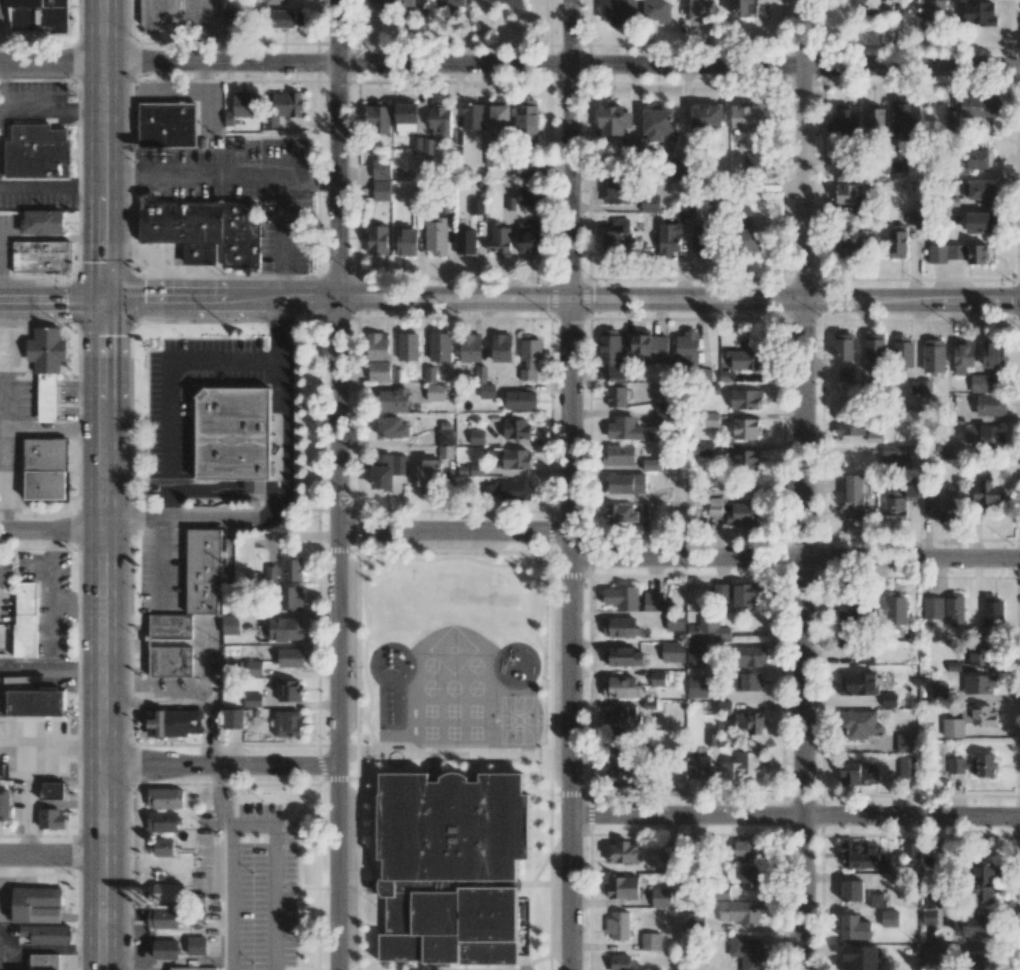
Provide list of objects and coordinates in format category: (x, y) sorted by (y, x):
building: (278, 1)
building: (390, 3)
building: (513, 3)
building: (451, 4)
building: (742, 7)
building: (869, 7)
building: (657, 10)
building: (701, 11)
building: (936, 11)
building: (618, 12)
building: (977, 13)
building: (41, 16)
building: (234, 16)
building: (161, 17)
building: (287, 19)
road: (509, 64)
road: (2, 86)
building: (976, 105)
building: (241, 106)
building: (282, 106)
road: (47, 107)
building: (499, 113)
building: (472, 116)
building: (527, 116)
building: (706, 116)
building: (903, 117)
building: (405, 118)
building: (747, 118)
building: (874, 118)
building: (950, 118)
building: (377, 119)
building: (845, 119)
building: (440, 120)
building: (611, 120)
building: (657, 123)
building: (169, 125)
building: (416, 145)
building: (427, 148)
road: (801, 149)
building: (37, 158)
building: (973, 160)
building: (756, 162)
building: (898, 162)
building: (527, 168)
building: (381, 169)
building: (677, 169)
building: (844, 172)
road: (219, 176)
road: (52, 187)
building: (381, 190)
building: (980, 192)
building: (618, 193)
building: (525, 196)
building: (848, 200)
building: (650, 203)
building: (476, 206)
building: (686, 210)
building: (43, 221)
building: (981, 222)
building: (206, 230)
building: (436, 236)
road: (283, 237)
building: (617, 237)
road: (54, 238)
building: (529, 238)
building: (377, 239)
building: (499, 239)
building: (669, 240)
building: (701, 241)
building: (752, 241)
building: (407, 242)
building: (465, 242)
building: (897, 242)
building: (848, 248)
building: (945, 252)
building: (977, 254)
building: (41, 257)
road: (4, 262)
road: (52, 297)
road: (561, 298)
traffic signals: (104, 299)
traffic signals: (569, 299)
building: (377, 346)
building: (408, 346)
building: (843, 346)
building: (440, 347)
building: (470, 347)
building: (648, 347)
building: (501, 348)
building: (686, 348)
building: (47, 350)
building: (874, 350)
building: (903, 351)
building: (611, 352)
road: (19, 354)
building: (993, 354)
building: (529, 356)
building: (934, 356)
building: (963, 356)
building: (745, 358)
building: (379, 371)
building: (429, 374)
building: (481, 374)
building: (846, 374)
building: (725, 376)
building: (981, 383)
building: (920, 387)
road: (171, 391)
building: (487, 391)
building: (435, 392)
building: (616, 396)
building: (49, 397)
building: (746, 399)
road: (56, 400)
building: (393, 400)
building: (520, 400)
building: (991, 404)
road: (7, 406)
building: (663, 406)
building: (664, 419)
building: (711, 419)
building: (851, 426)
building: (392, 427)
road: (56, 428)
building: (516, 428)
building: (624, 428)
building: (746, 428)
building: (236, 433)
building: (986, 435)
building: (476, 437)
building: (874, 437)
building: (445, 440)
building: (704, 448)
building: (892, 450)
building: (945, 452)
building: (619, 454)
building: (516, 458)
building: (747, 459)
building: (893, 462)
building: (651, 464)
building: (45, 469)
building: (387, 470)
building: (429, 470)
road: (6, 477)
road: (336, 484)
road: (569, 484)
road: (105, 485)
building: (630, 486)
building: (516, 490)
road: (283, 491)
building: (985, 492)
building: (853, 496)
building: (900, 500)
building: (714, 506)
building: (937, 509)
building: (621, 513)
building: (744, 514)
road: (52, 526)
road: (453, 530)
road: (795, 558)
building: (292, 570)
building: (5, 572)
building: (204, 572)
building: (271, 573)
building: (744, 595)
building: (289, 598)
building: (622, 598)
building: (652, 601)
road: (78, 605)
building: (850, 608)
building: (933, 608)
building: (955, 609)
building: (890, 610)
building: (991, 614)
building: (27, 622)
road: (51, 624)
building: (230, 625)
building: (621, 627)
building: (285, 629)
building: (708, 630)
road: (803, 633)
building: (171, 645)
building: (673, 652)
building: (696, 654)
building: (980, 654)
building: (752, 656)
building: (290, 657)
building: (623, 657)
building: (864, 658)
building: (250, 668)
building: (658, 678)
building: (747, 681)
building: (858, 684)
building: (979, 684)
building: (620, 687)
building: (697, 687)
building: (288, 690)
building: (939, 691)
building: (252, 700)
building: (36, 704)
building: (724, 706)
building: (621, 714)
building: (233, 718)
building: (968, 720)
building: (174, 722)
building: (749, 722)
building: (287, 723)
building: (858, 724)
building: (616, 743)
building: (907, 743)
building: (974, 765)
building: (699, 766)
road: (220, 767)
building: (907, 767)
building: (743, 768)
building: (858, 774)
building: (621, 777)
building: (53, 790)
road: (229, 796)
building: (164, 798)
building: (4, 804)
road: (794, 814)
building: (51, 819)
building: (162, 821)
road: (252, 825)
building: (162, 847)
building: (745, 849)
building: (910, 850)
building: (622, 852)
building: (669, 853)
road: (51, 856)
building: (863, 856)
building: (446, 874)
building: (750, 877)
building: (984, 882)
building: (622, 887)
parking lot: (260, 888)
building: (852, 890)
building: (163, 891)
building: (661, 897)
building: (933, 898)
building: (876, 899)
building: (741, 911)
building: (36, 915)
building: (929, 916)
building: (163, 918)
building: (890, 918)
building: (695, 922)
building: (618, 925)
building: (970, 925)
building: (855, 927)
building: (650, 941)
building: (196, 946)
building: (165, 949)
building: (746, 953)
building: (928, 954)
building: (860, 957)
building: (979, 960)
building: (46, 961)
building: (620, 962)
road: (128, 964)
building: (193, 969)

